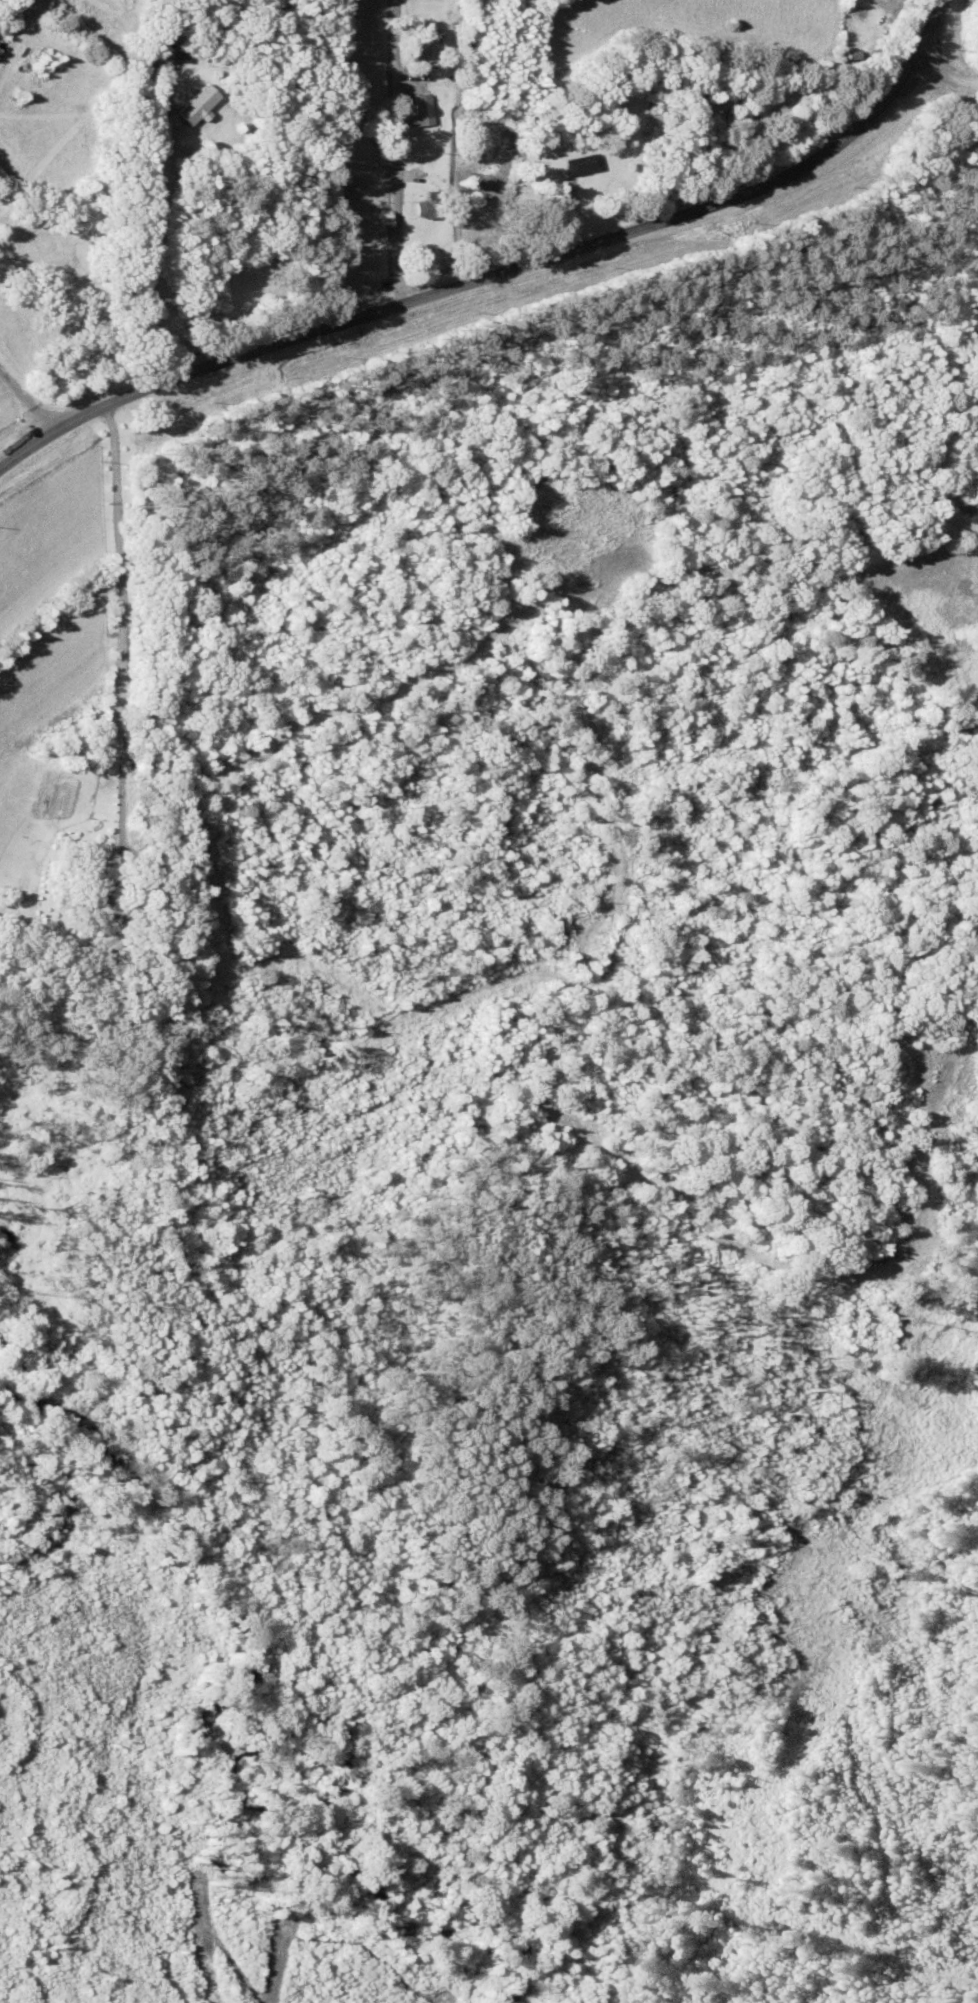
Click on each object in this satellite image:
building: (859, 25)
road: (902, 28)
building: (185, 46)
building: (432, 48)
road: (936, 55)
building: (713, 101)
building: (202, 103)
building: (431, 109)
building: (581, 164)
building: (490, 182)
building: (432, 207)
road: (455, 240)
building: (84, 881)

